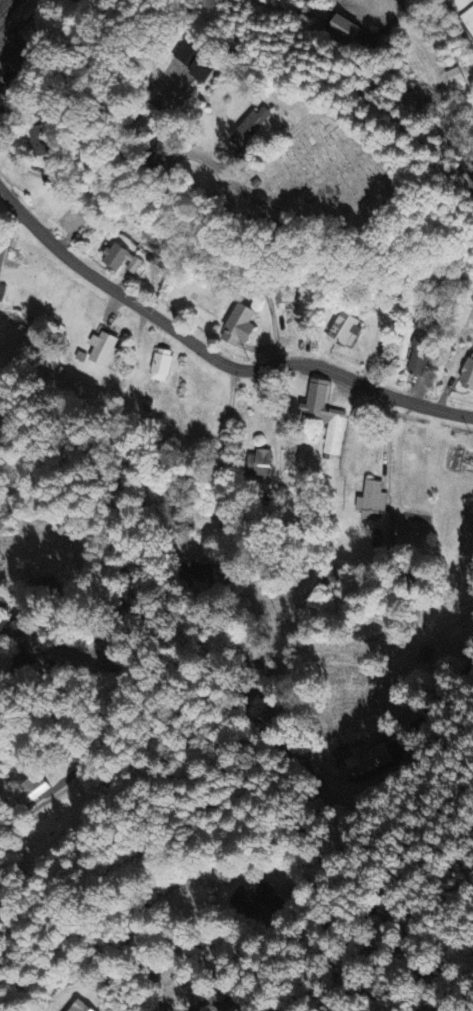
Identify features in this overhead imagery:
railway: (4, 4)
road: (390, 24)
building: (201, 67)
building: (15, 77)
building: (456, 77)
building: (253, 129)
road: (82, 157)
park: (326, 178)
road: (6, 216)
road: (203, 226)
building: (124, 260)
building: (242, 327)
building: (347, 329)
building: (104, 349)
road: (212, 357)
building: (422, 357)
building: (164, 366)
building: (469, 379)
building: (326, 417)
road: (224, 451)
building: (260, 465)
building: (374, 502)
road: (52, 657)
road: (442, 695)
road: (40, 784)
building: (253, 899)
road: (224, 997)
building: (81, 1007)

